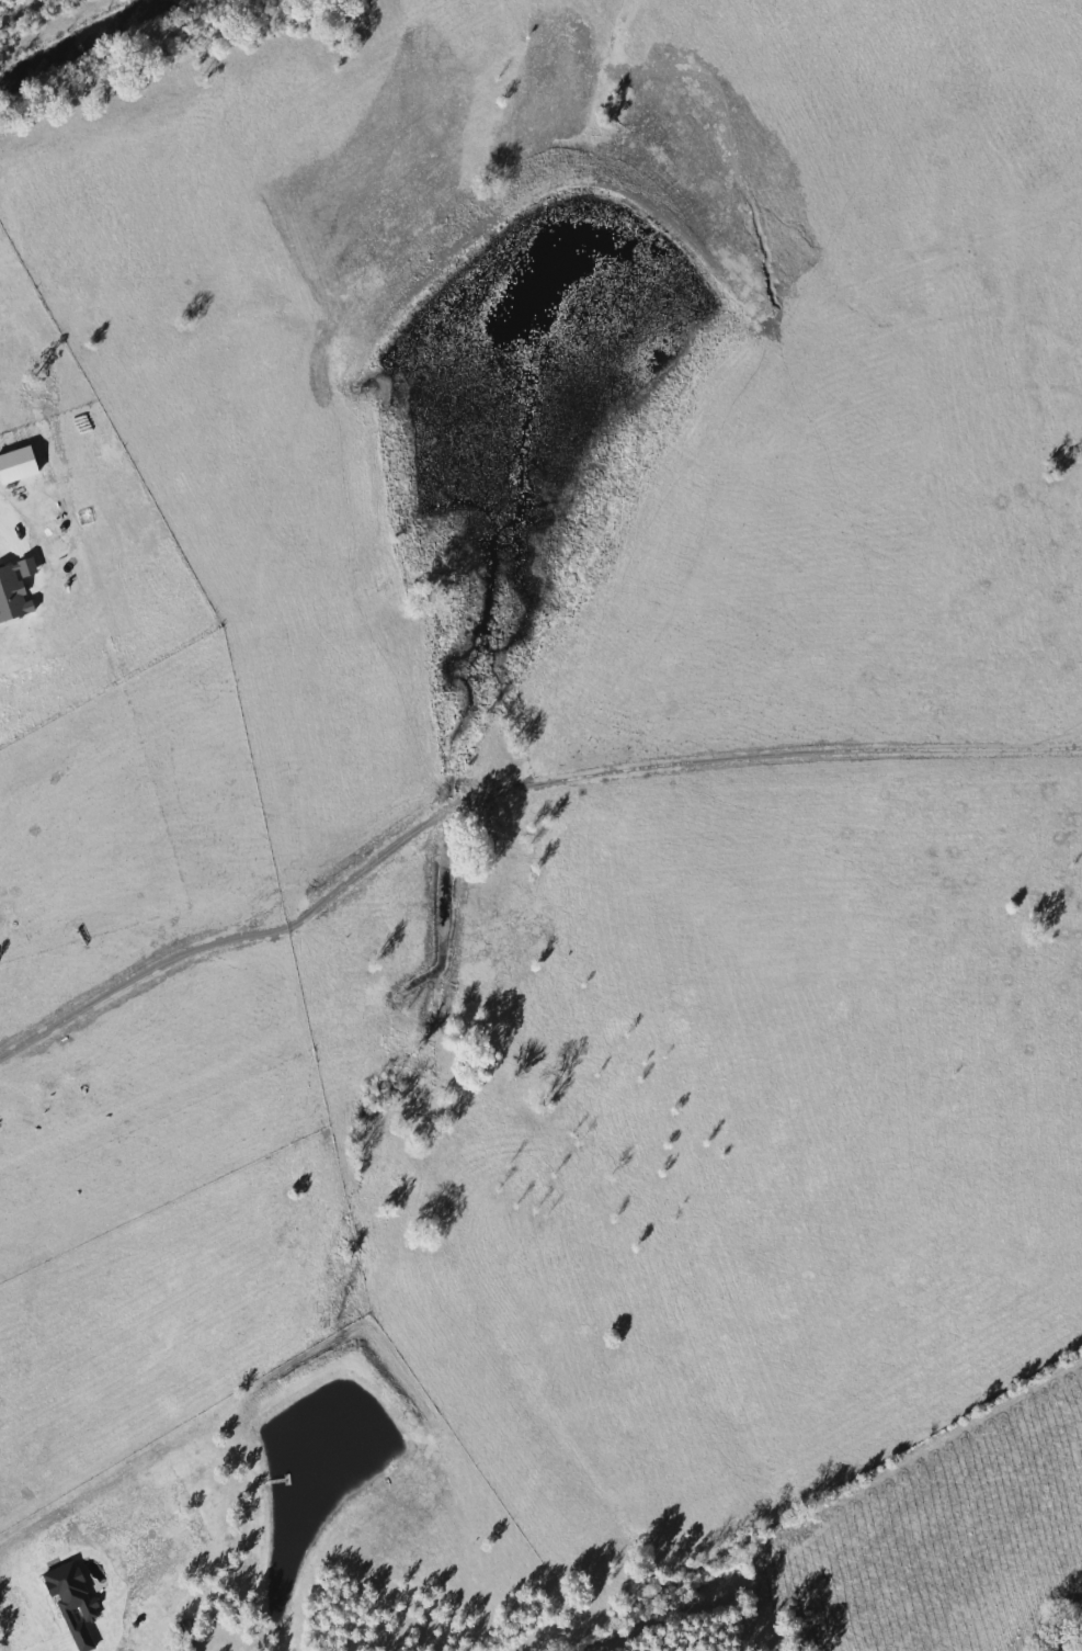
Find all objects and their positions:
building: (21, 464)
building: (18, 590)
building: (77, 1602)

